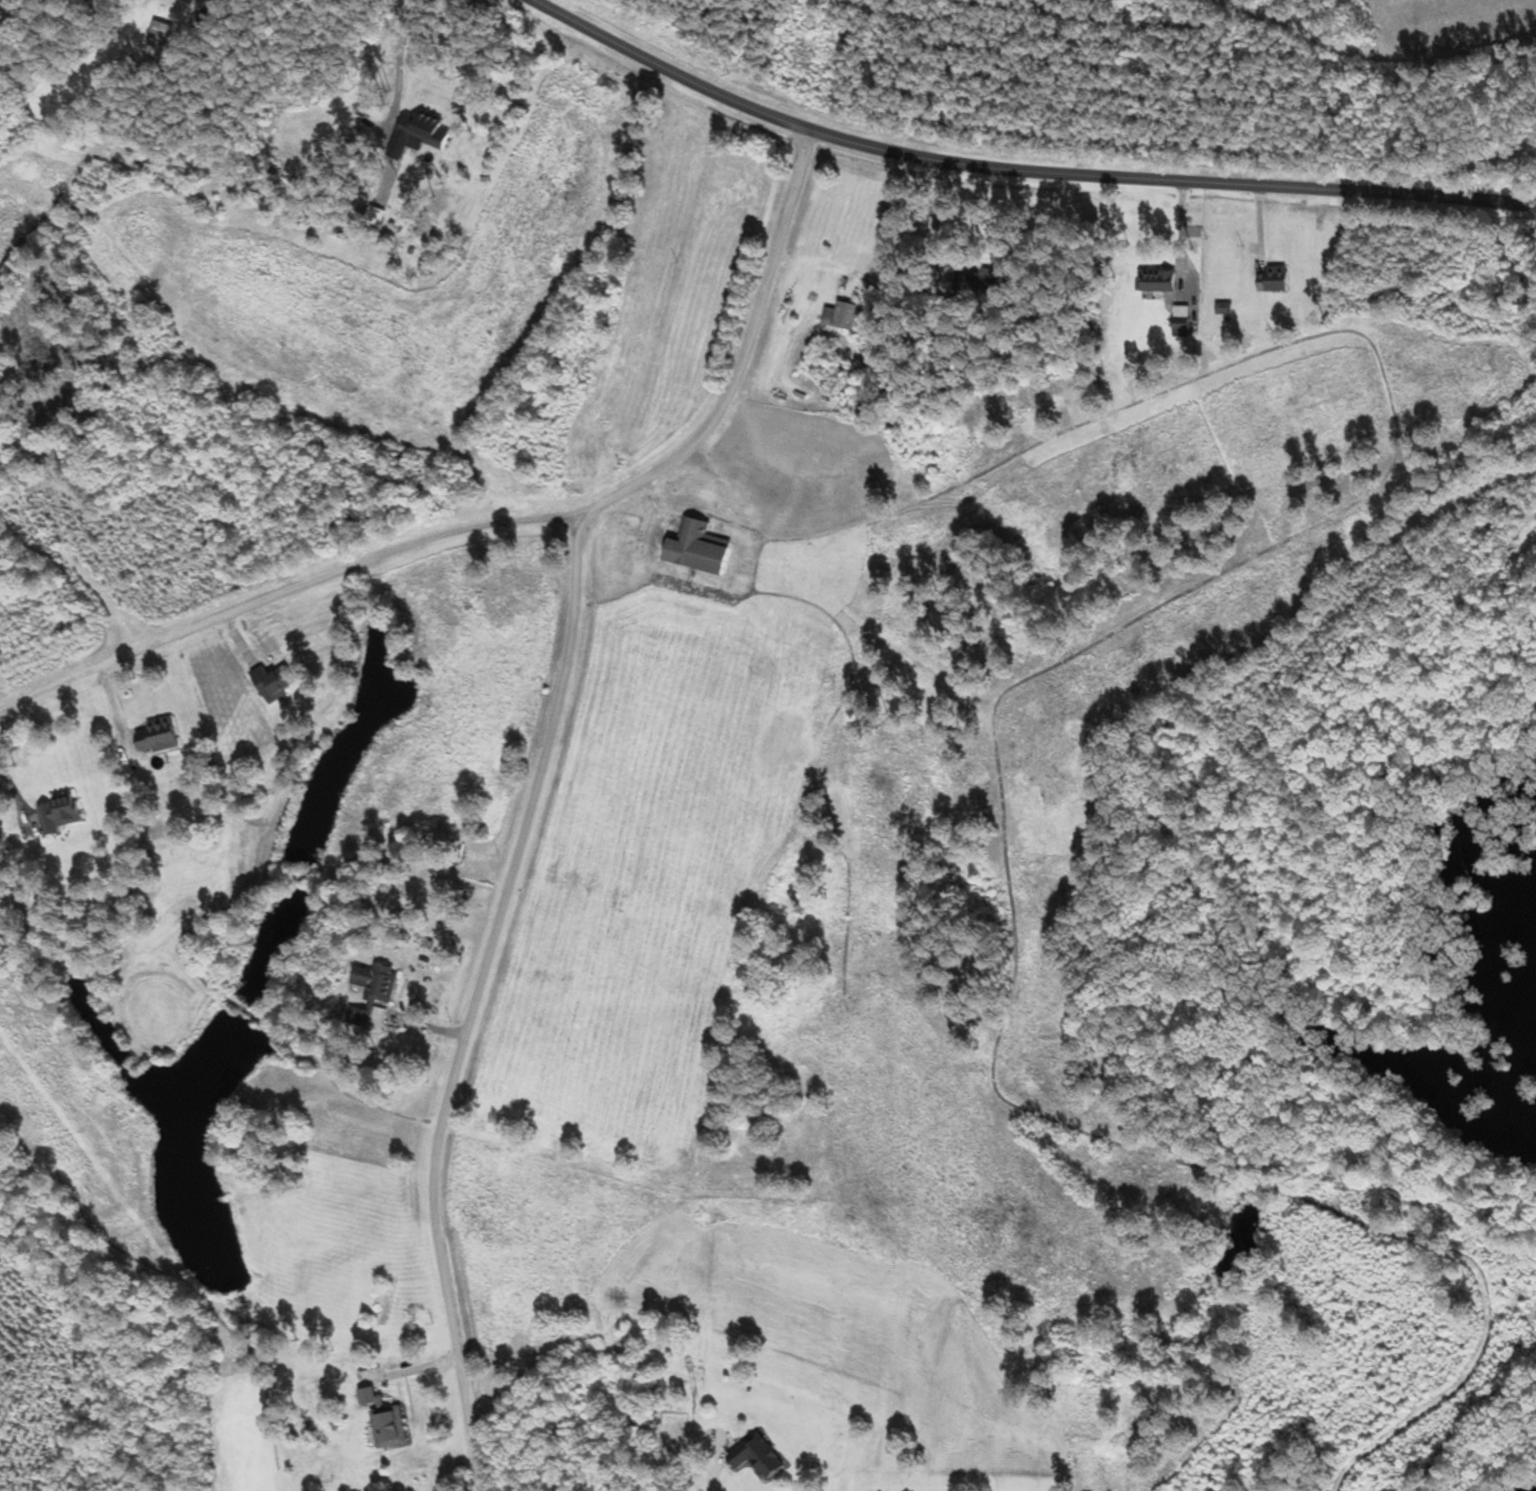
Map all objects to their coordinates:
building: (1, 0)
road: (409, 19)
building: (161, 35)
road: (372, 122)
building: (414, 131)
road: (1015, 170)
building: (1161, 279)
building: (983, 280)
building: (1275, 280)
building: (841, 316)
building: (1183, 320)
building: (865, 399)
road: (507, 523)
building: (627, 543)
building: (687, 544)
building: (276, 682)
building: (159, 737)
building: (60, 815)
building: (376, 995)
road: (480, 1000)
building: (368, 1396)
building: (390, 1427)
building: (759, 1456)
road: (717, 1464)

